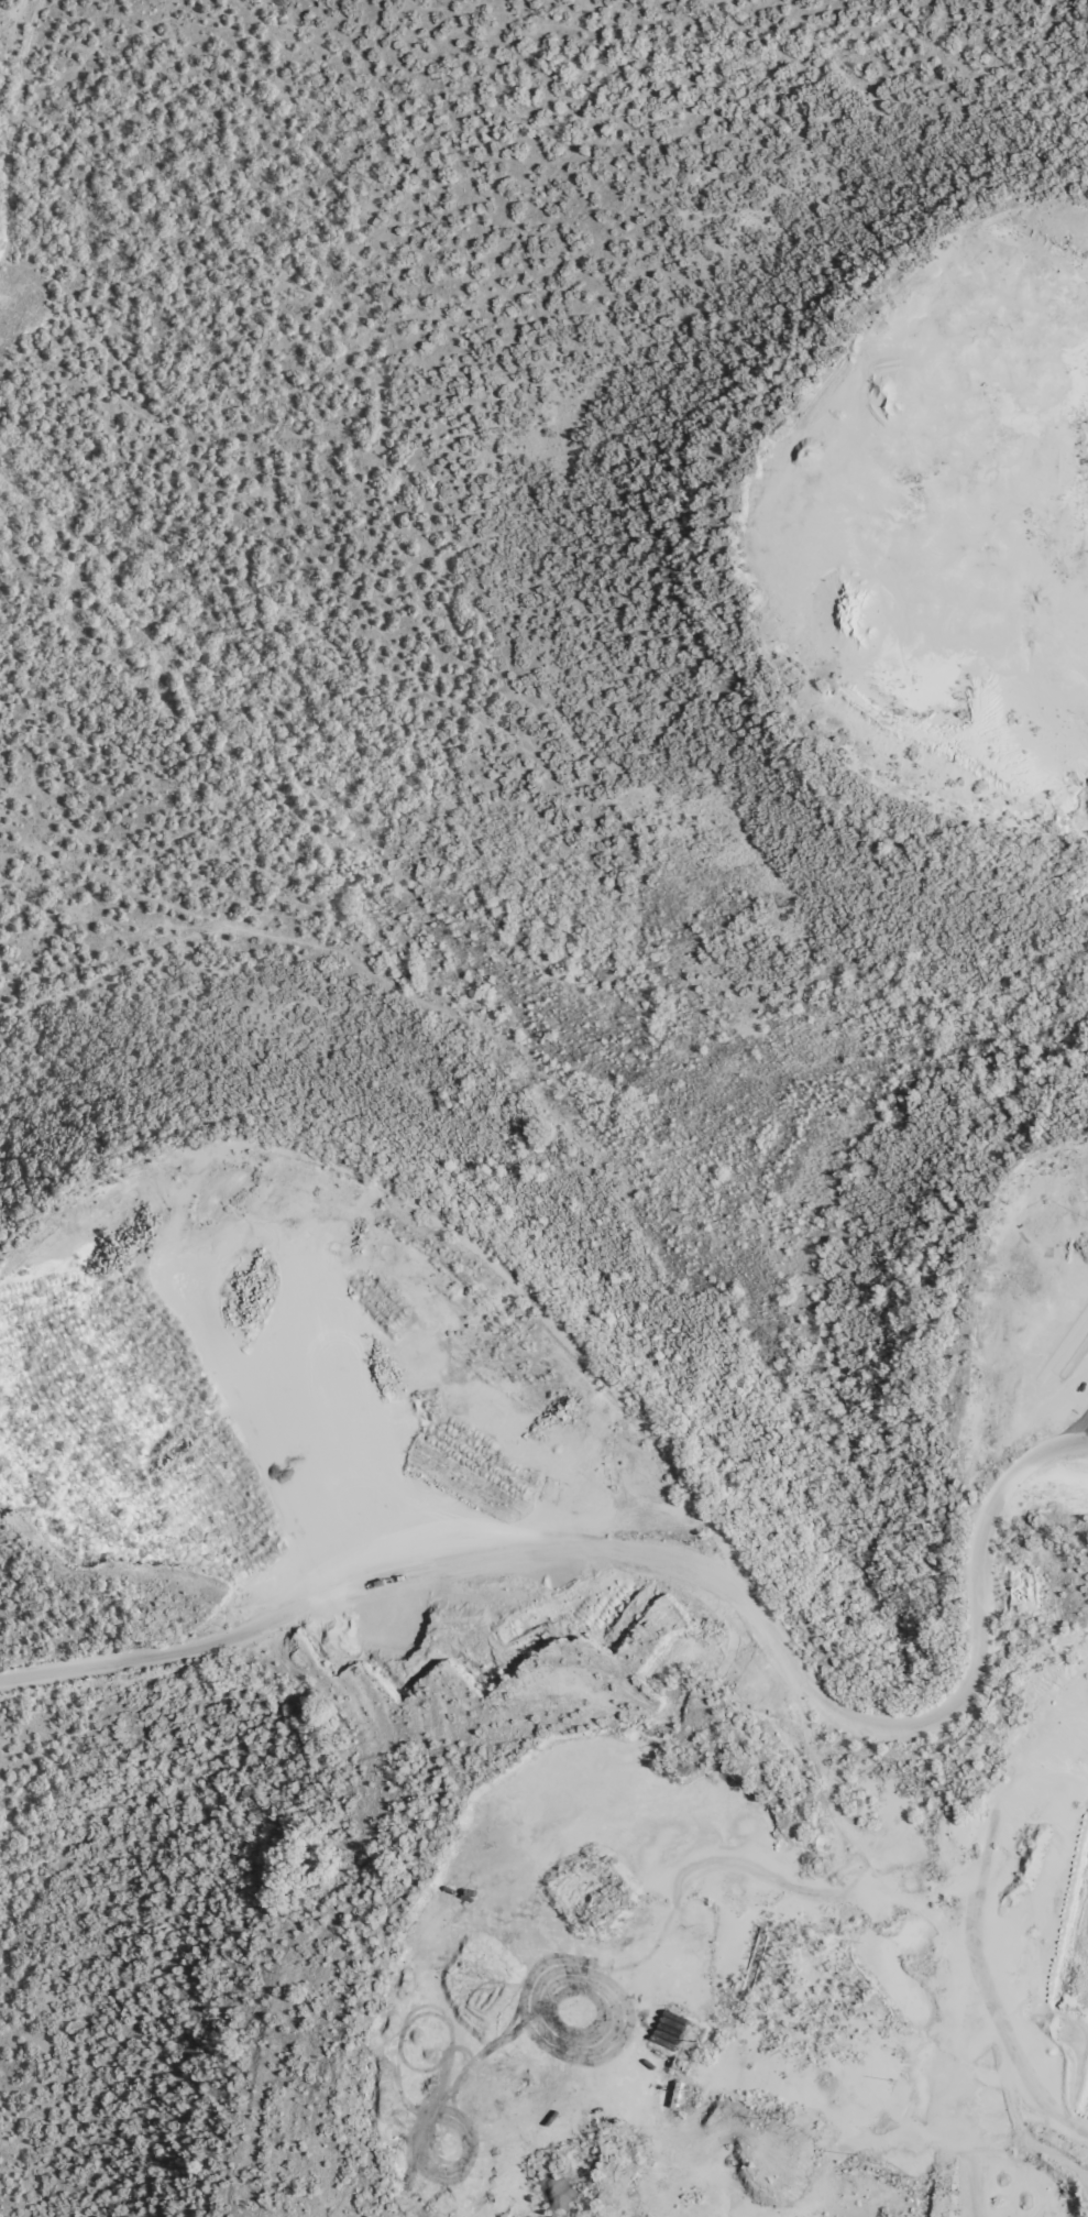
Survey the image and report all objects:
road: (672, 1561)

